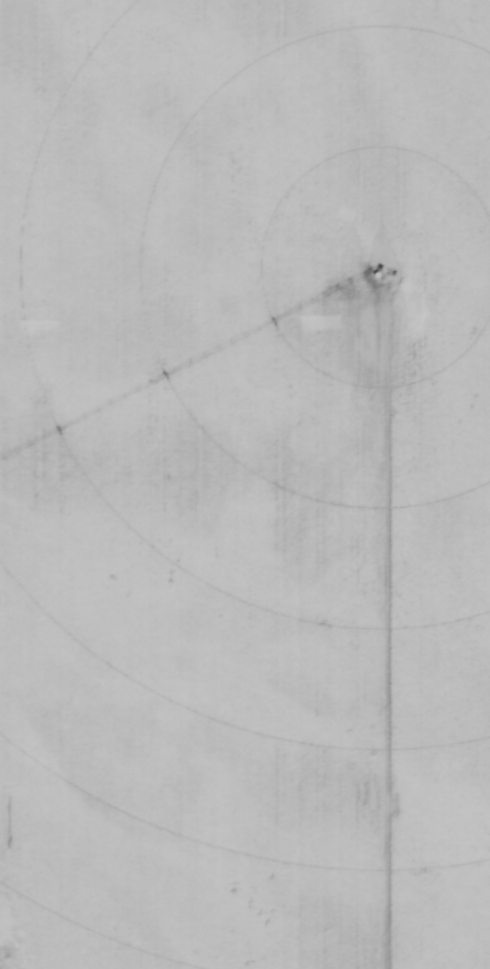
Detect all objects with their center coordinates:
crop: (245, 484)

